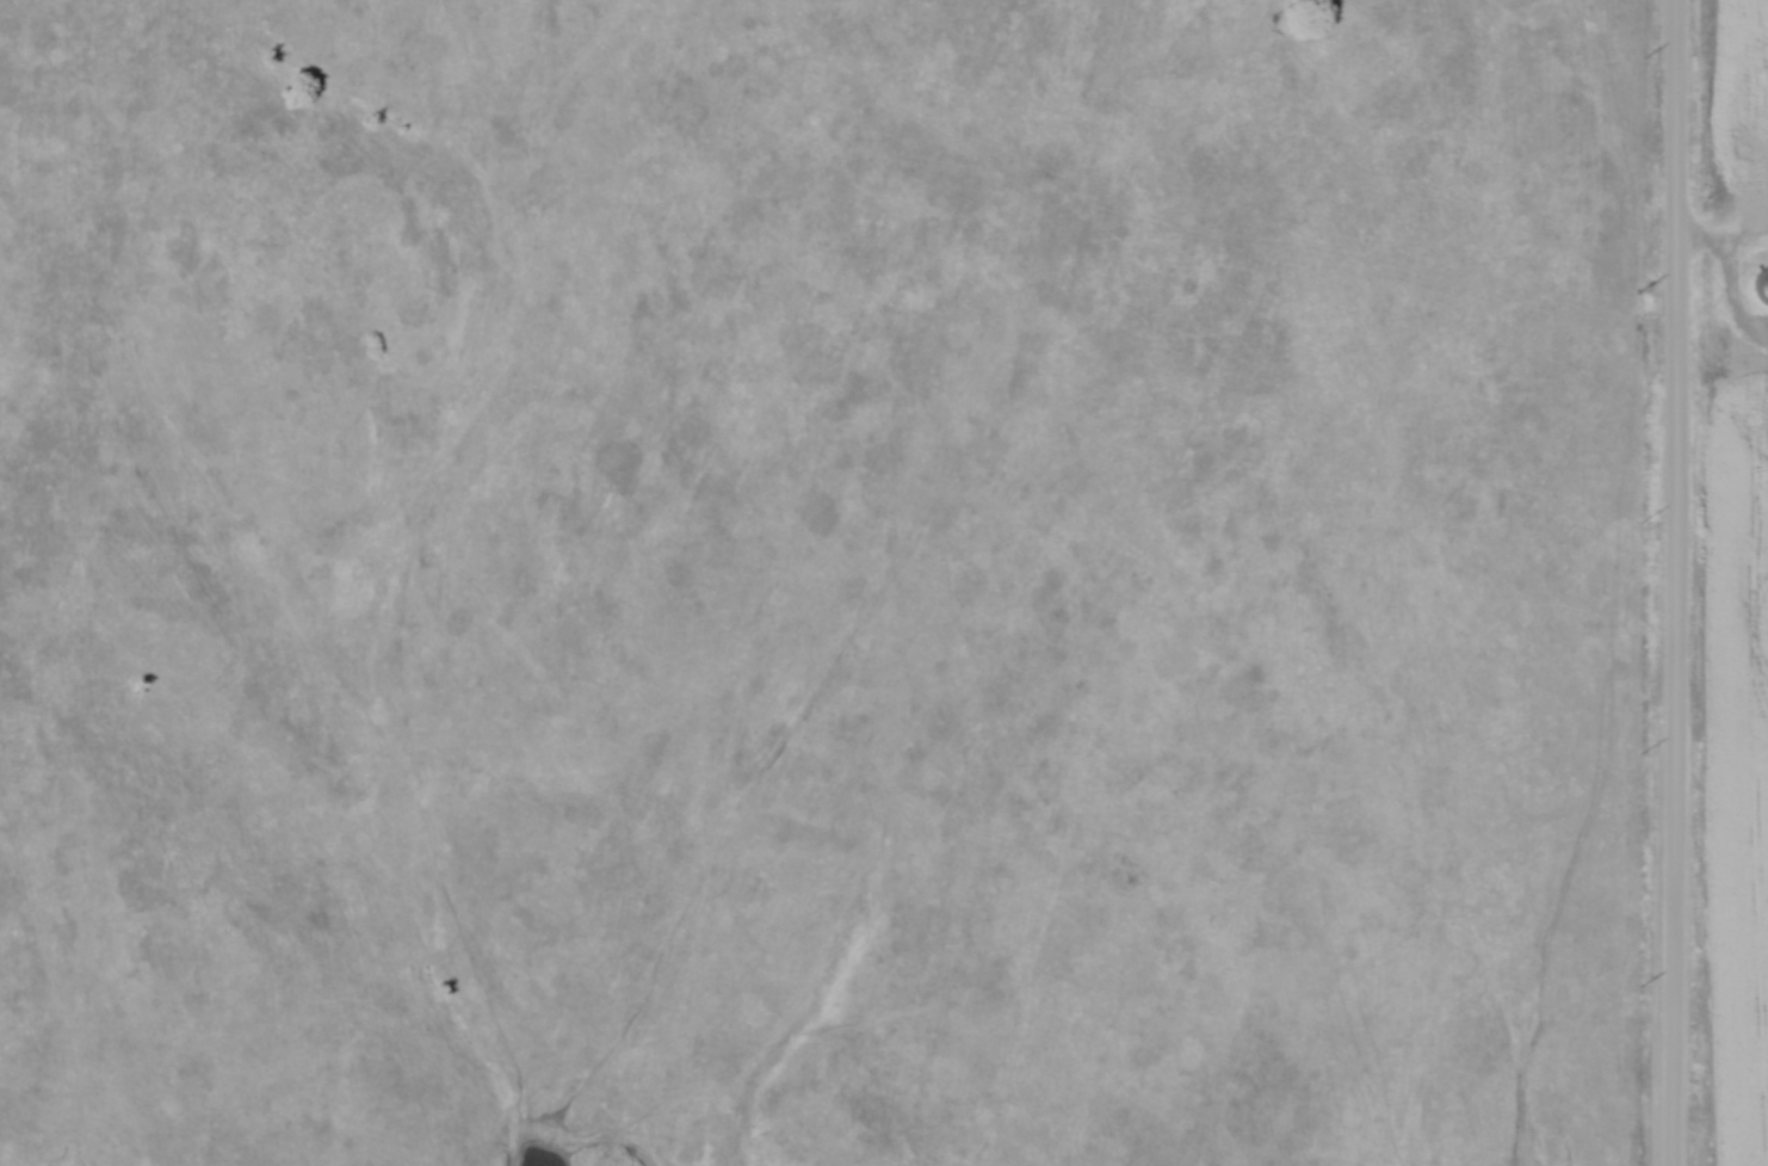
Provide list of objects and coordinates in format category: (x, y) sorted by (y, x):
road: (1676, 582)

